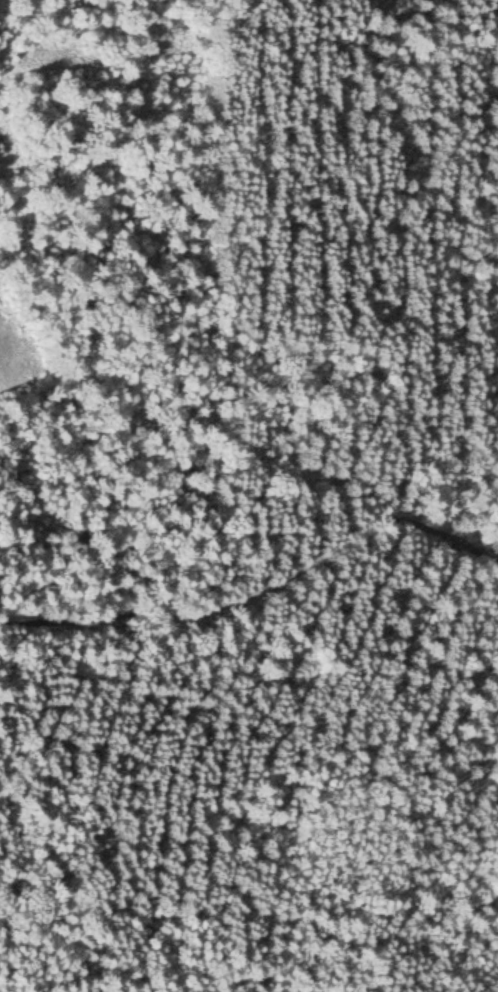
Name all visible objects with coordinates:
road: (260, 583)

